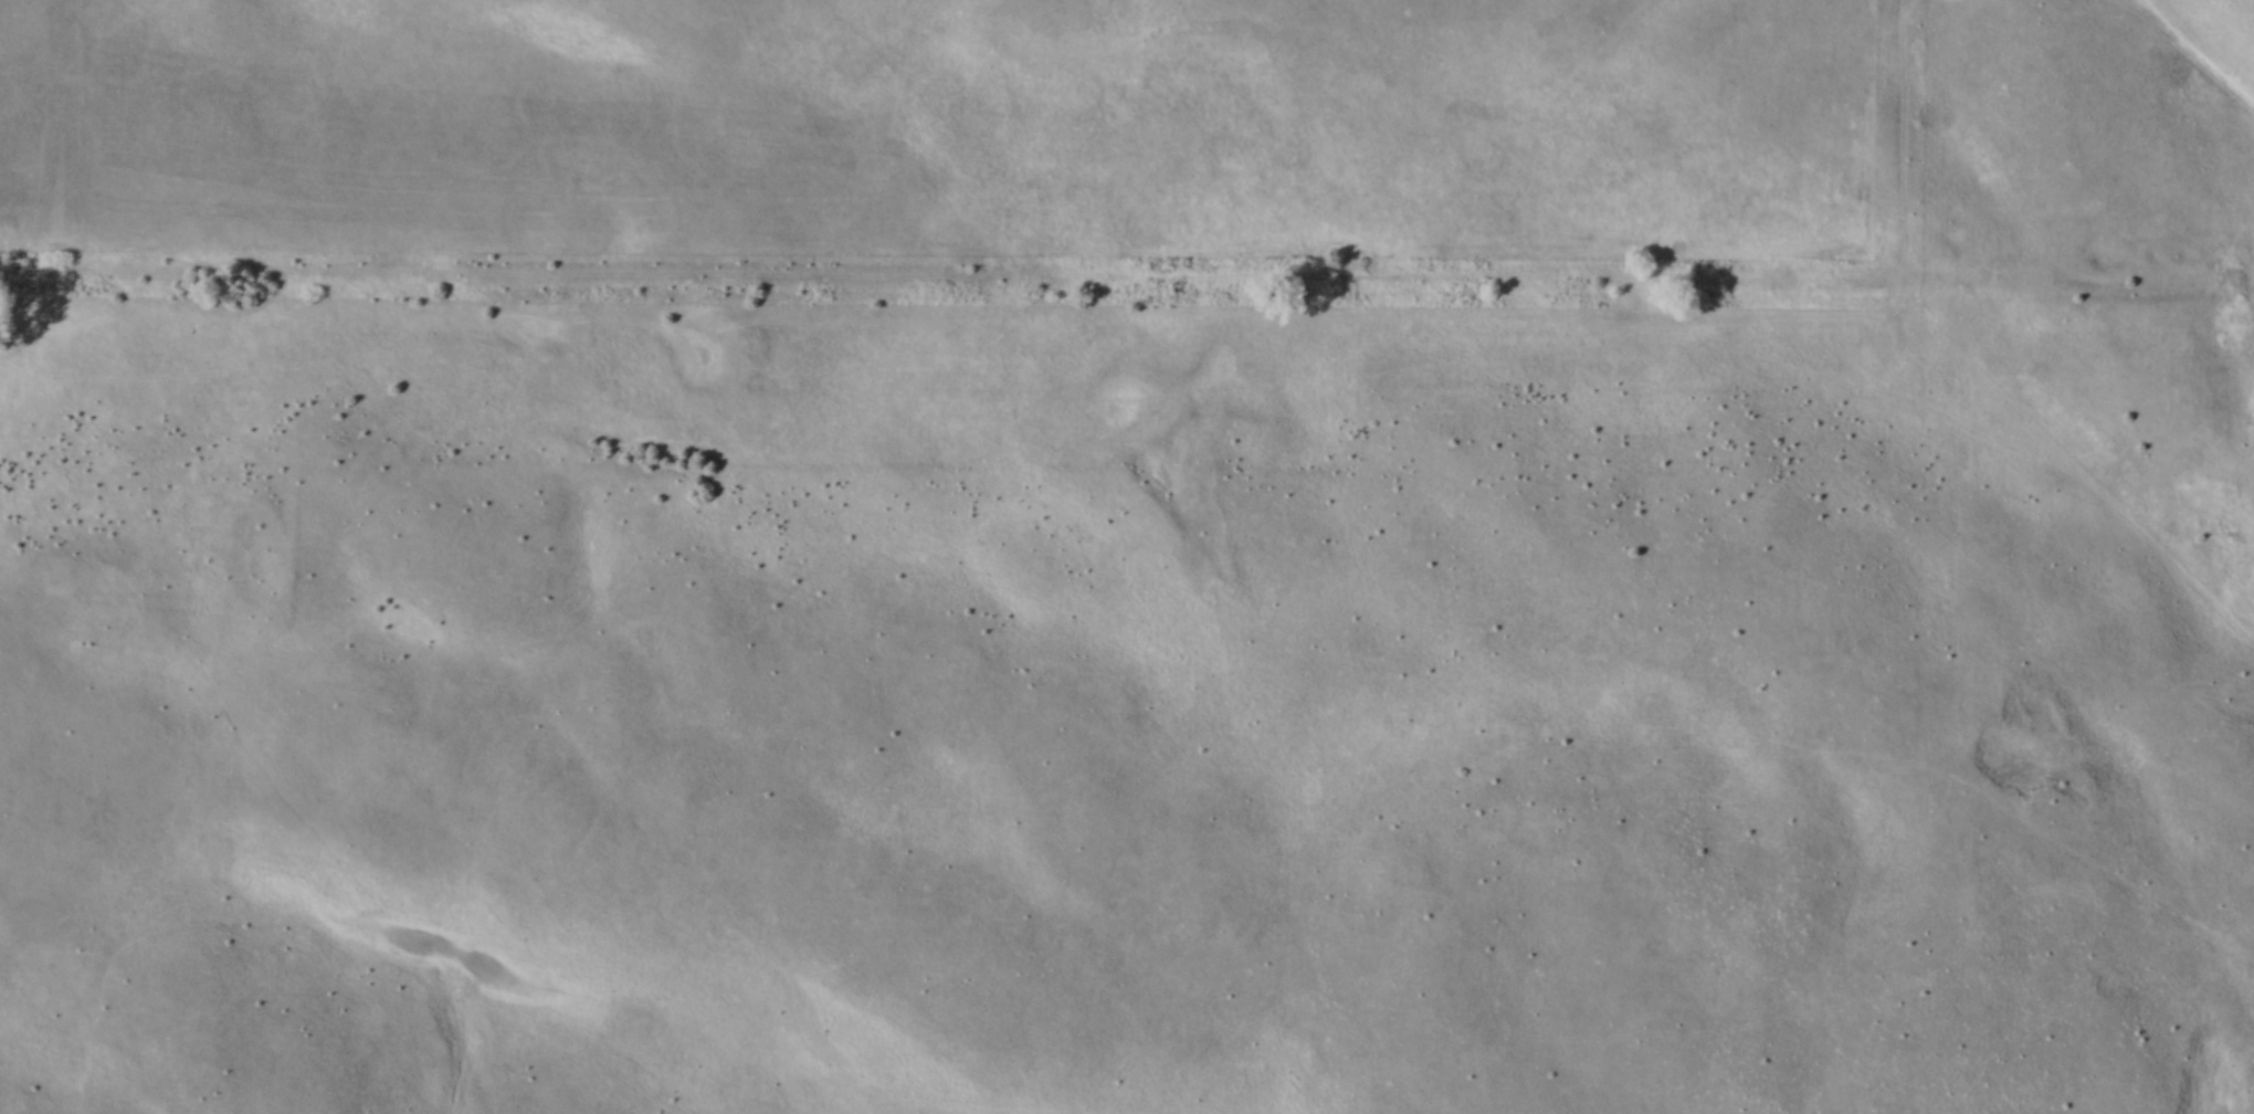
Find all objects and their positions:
road: (1923, 134)

